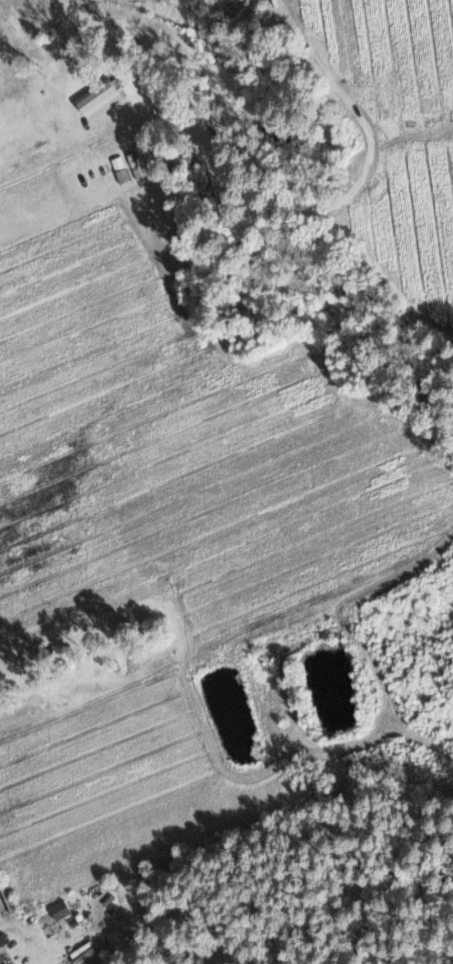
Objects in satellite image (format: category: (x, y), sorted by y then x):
building: (99, 99)
road: (47, 168)
building: (7, 896)
building: (58, 909)
building: (87, 953)
building: (1, 960)

